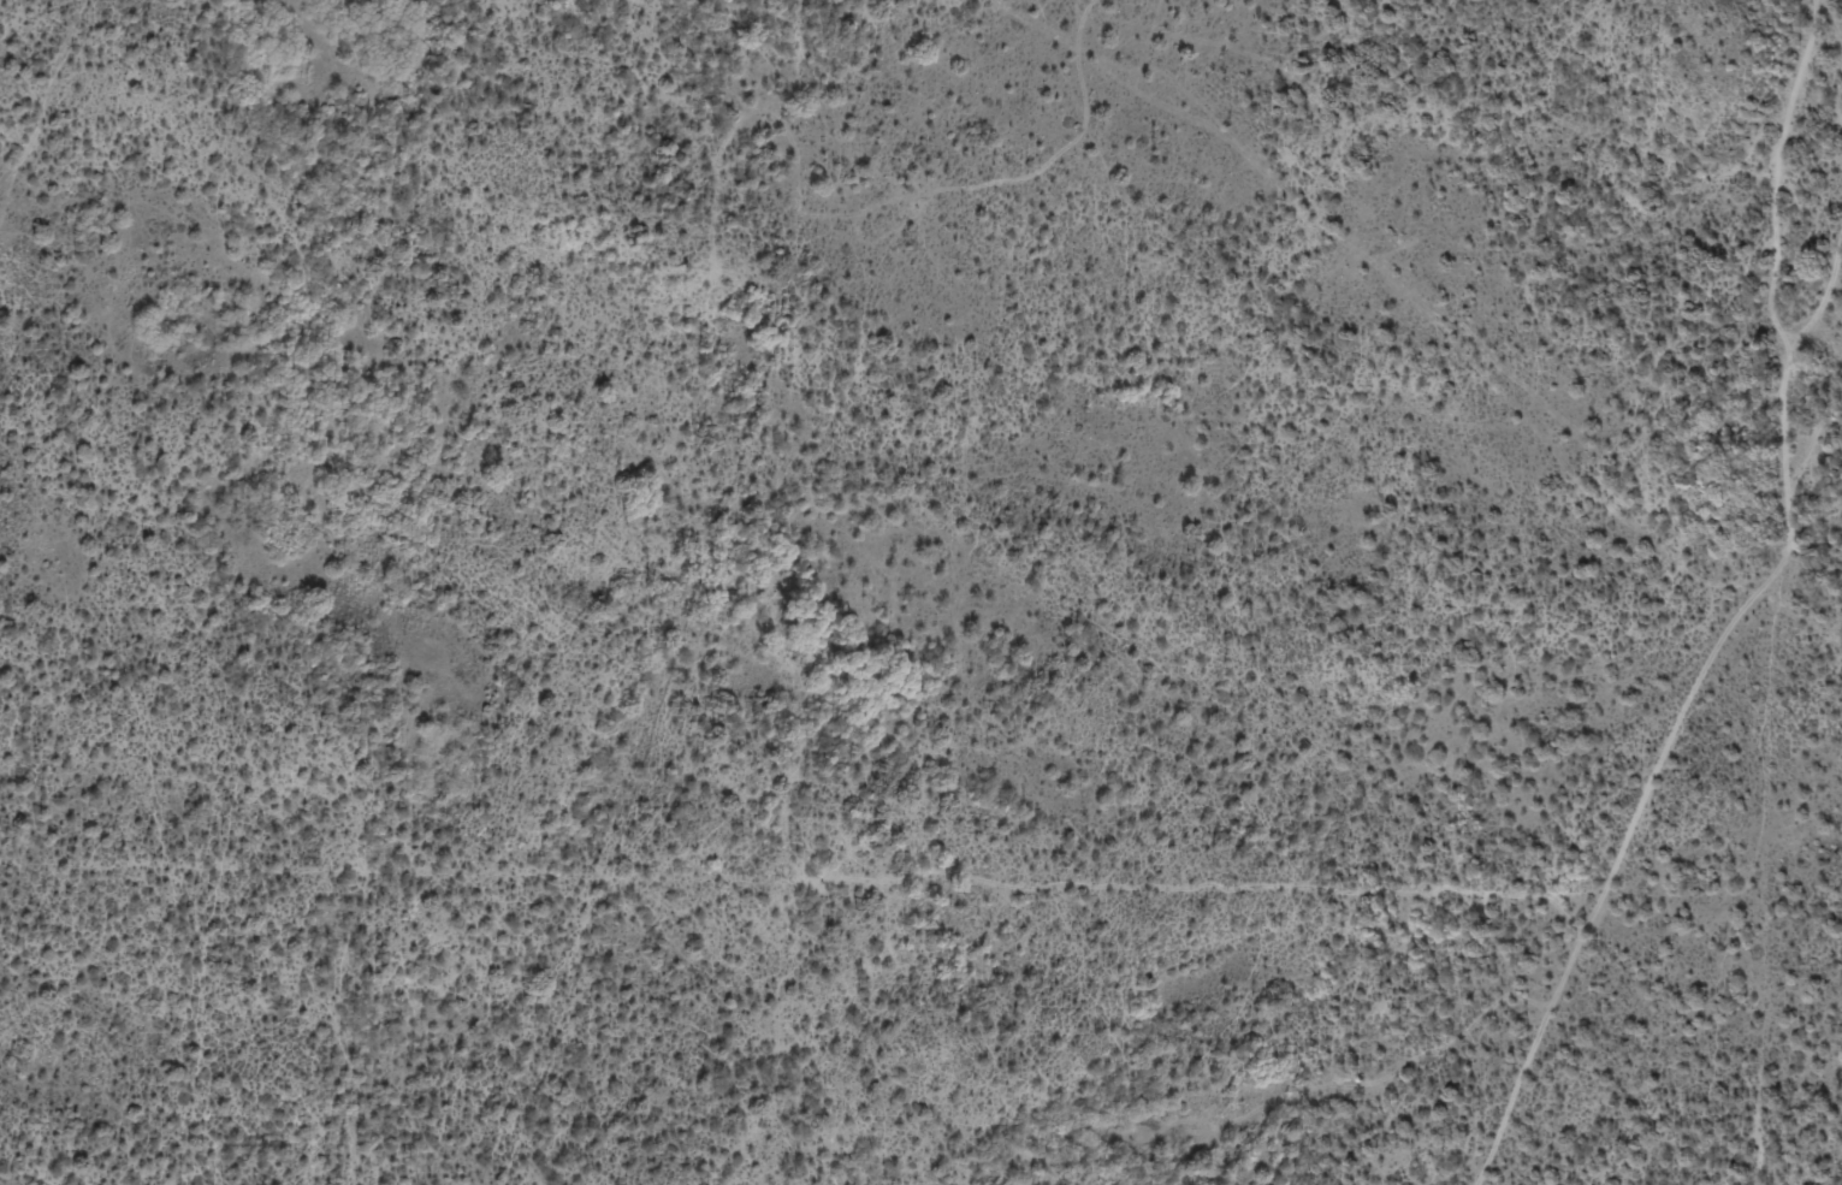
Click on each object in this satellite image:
road: (1676, 745)

